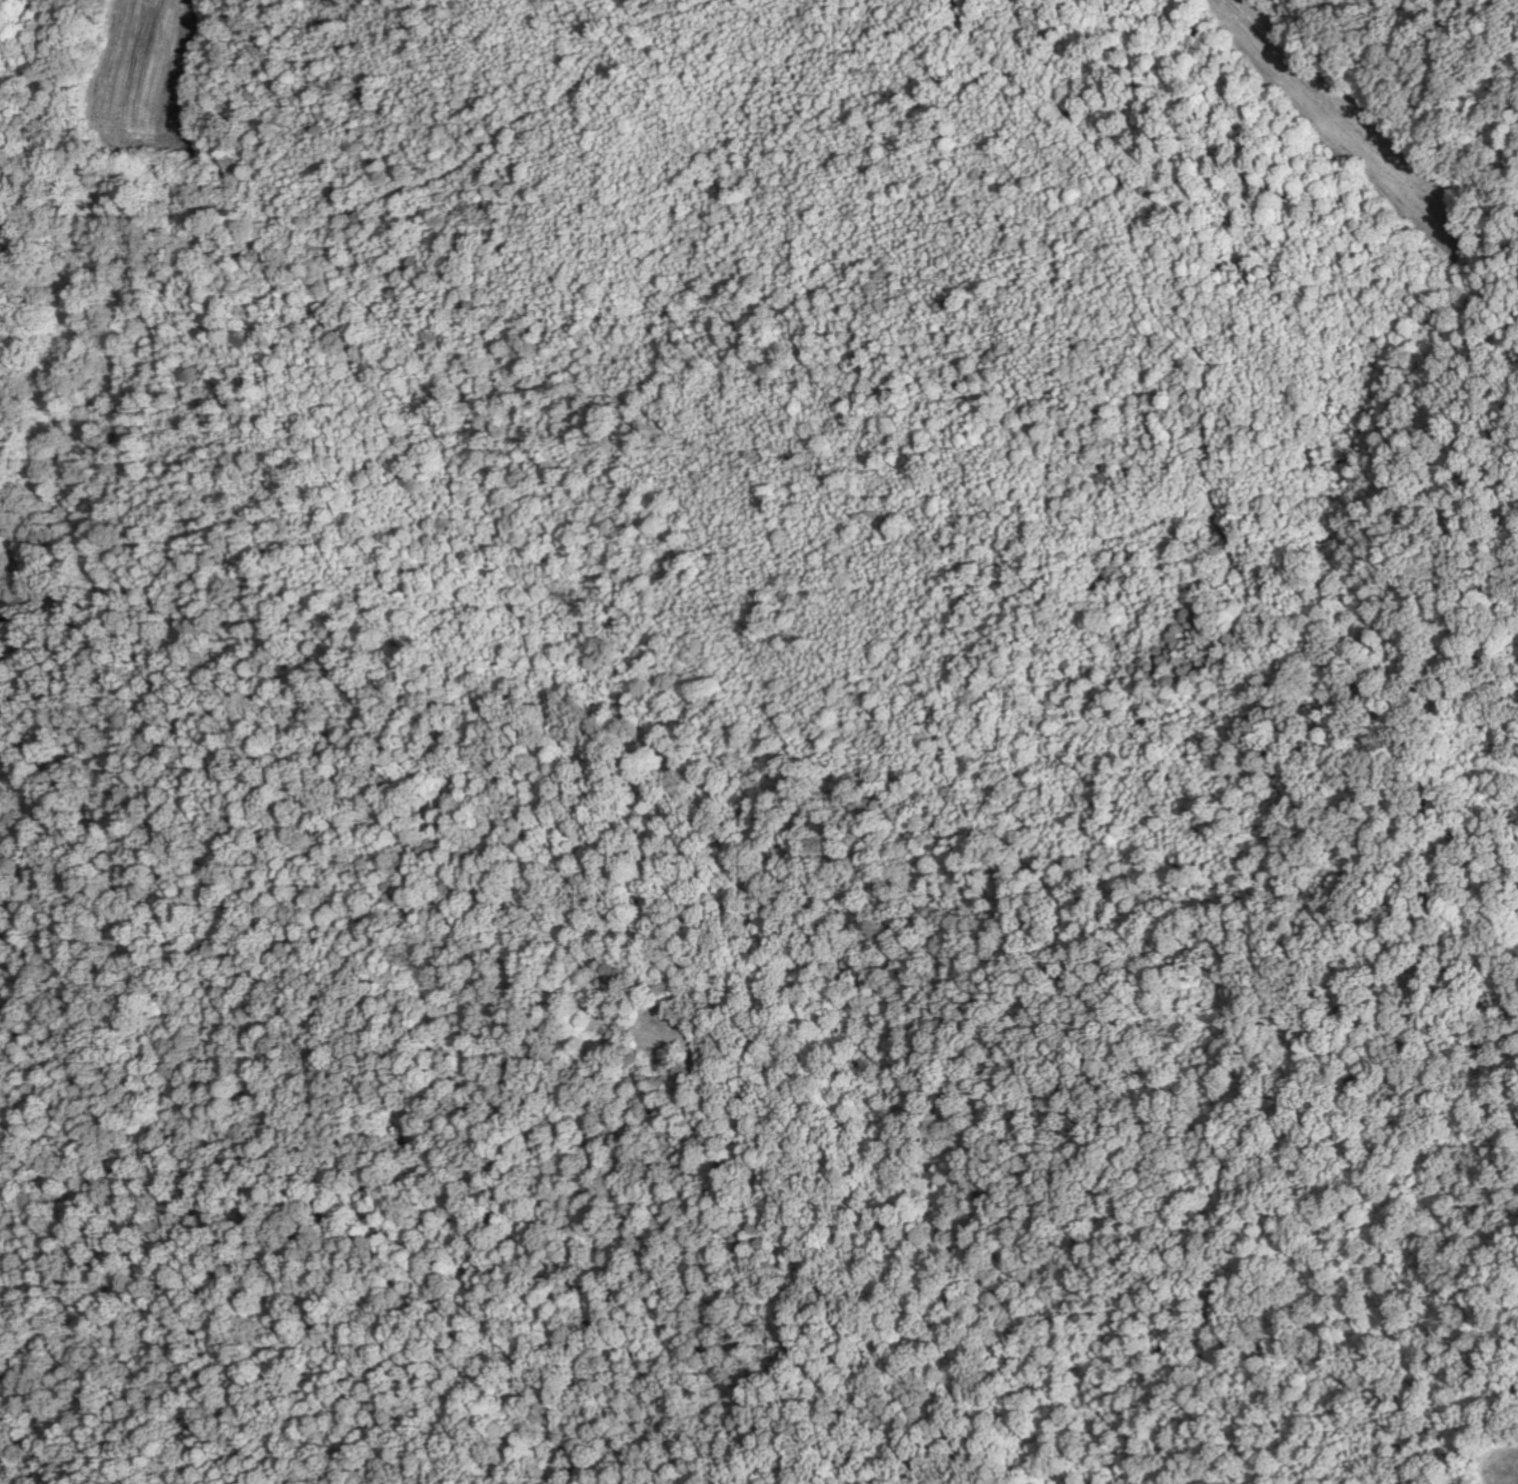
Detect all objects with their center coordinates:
road: (1158, 481)

